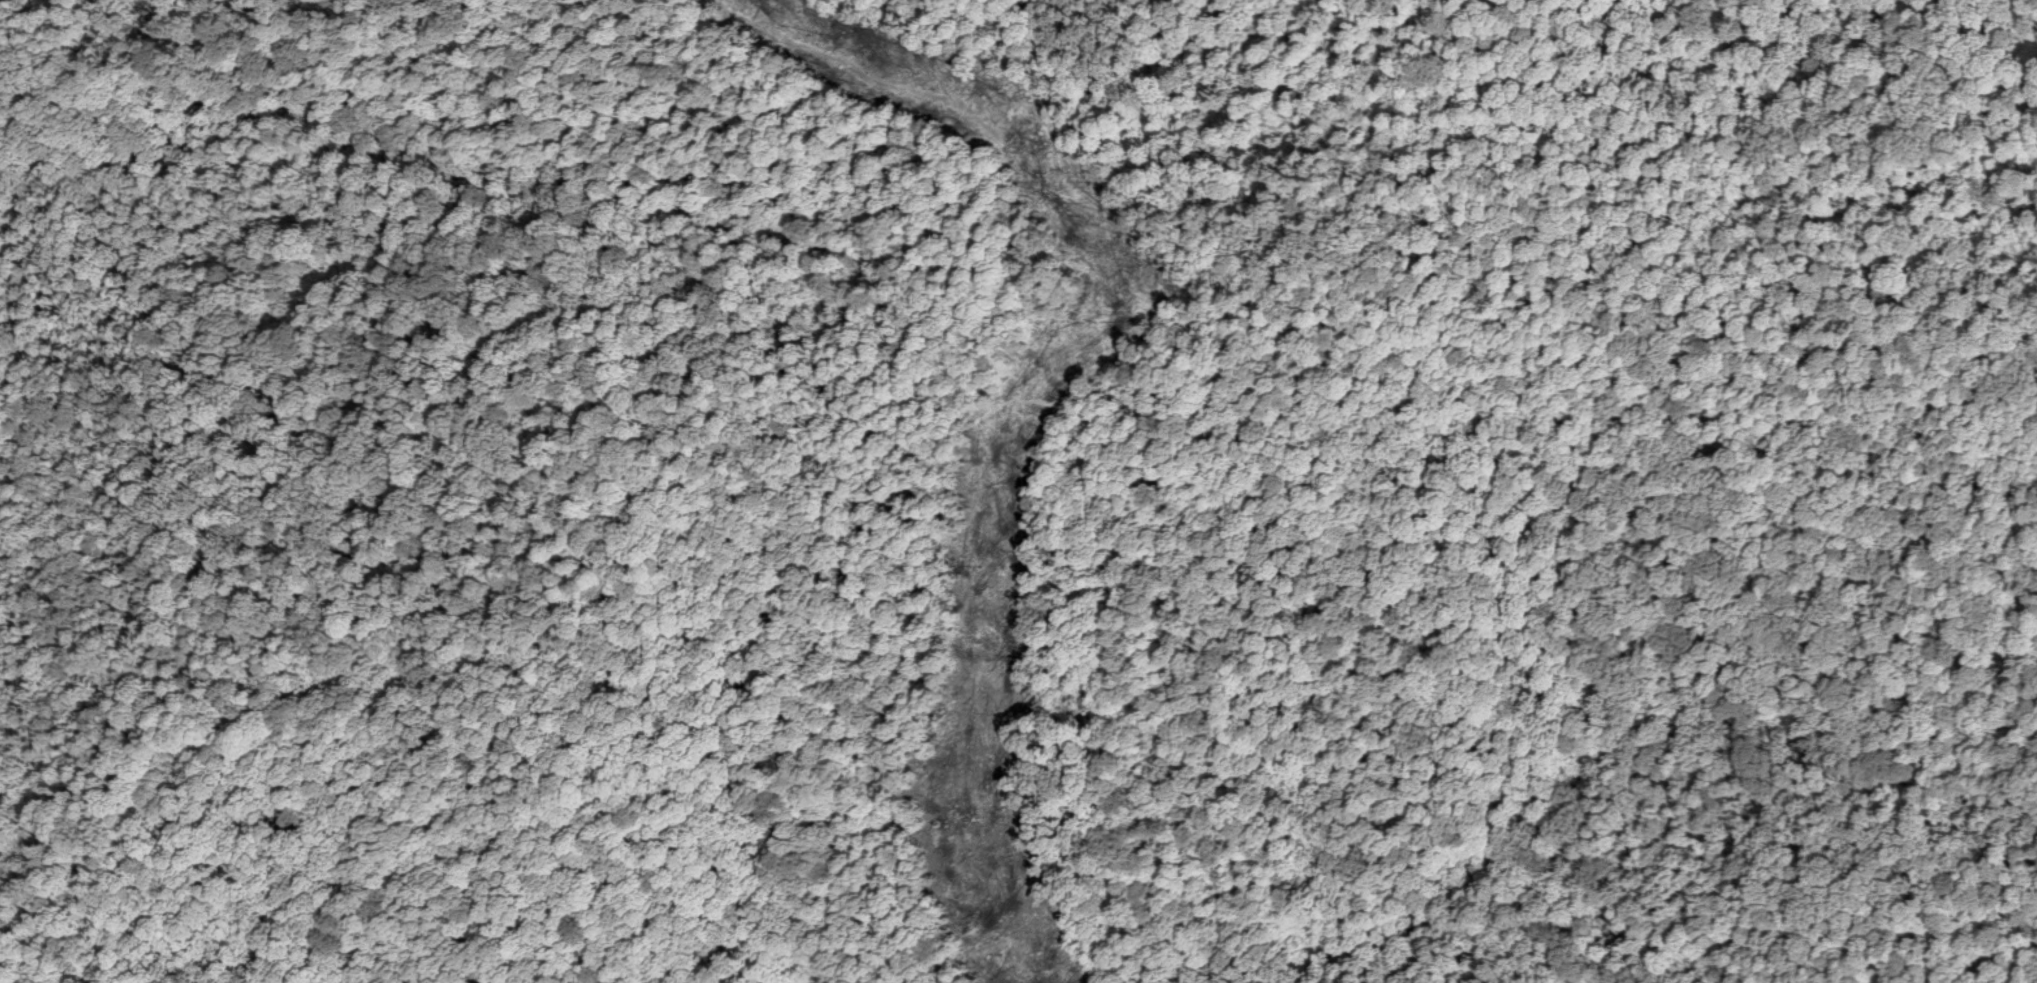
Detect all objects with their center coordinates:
road: (45, 36)

